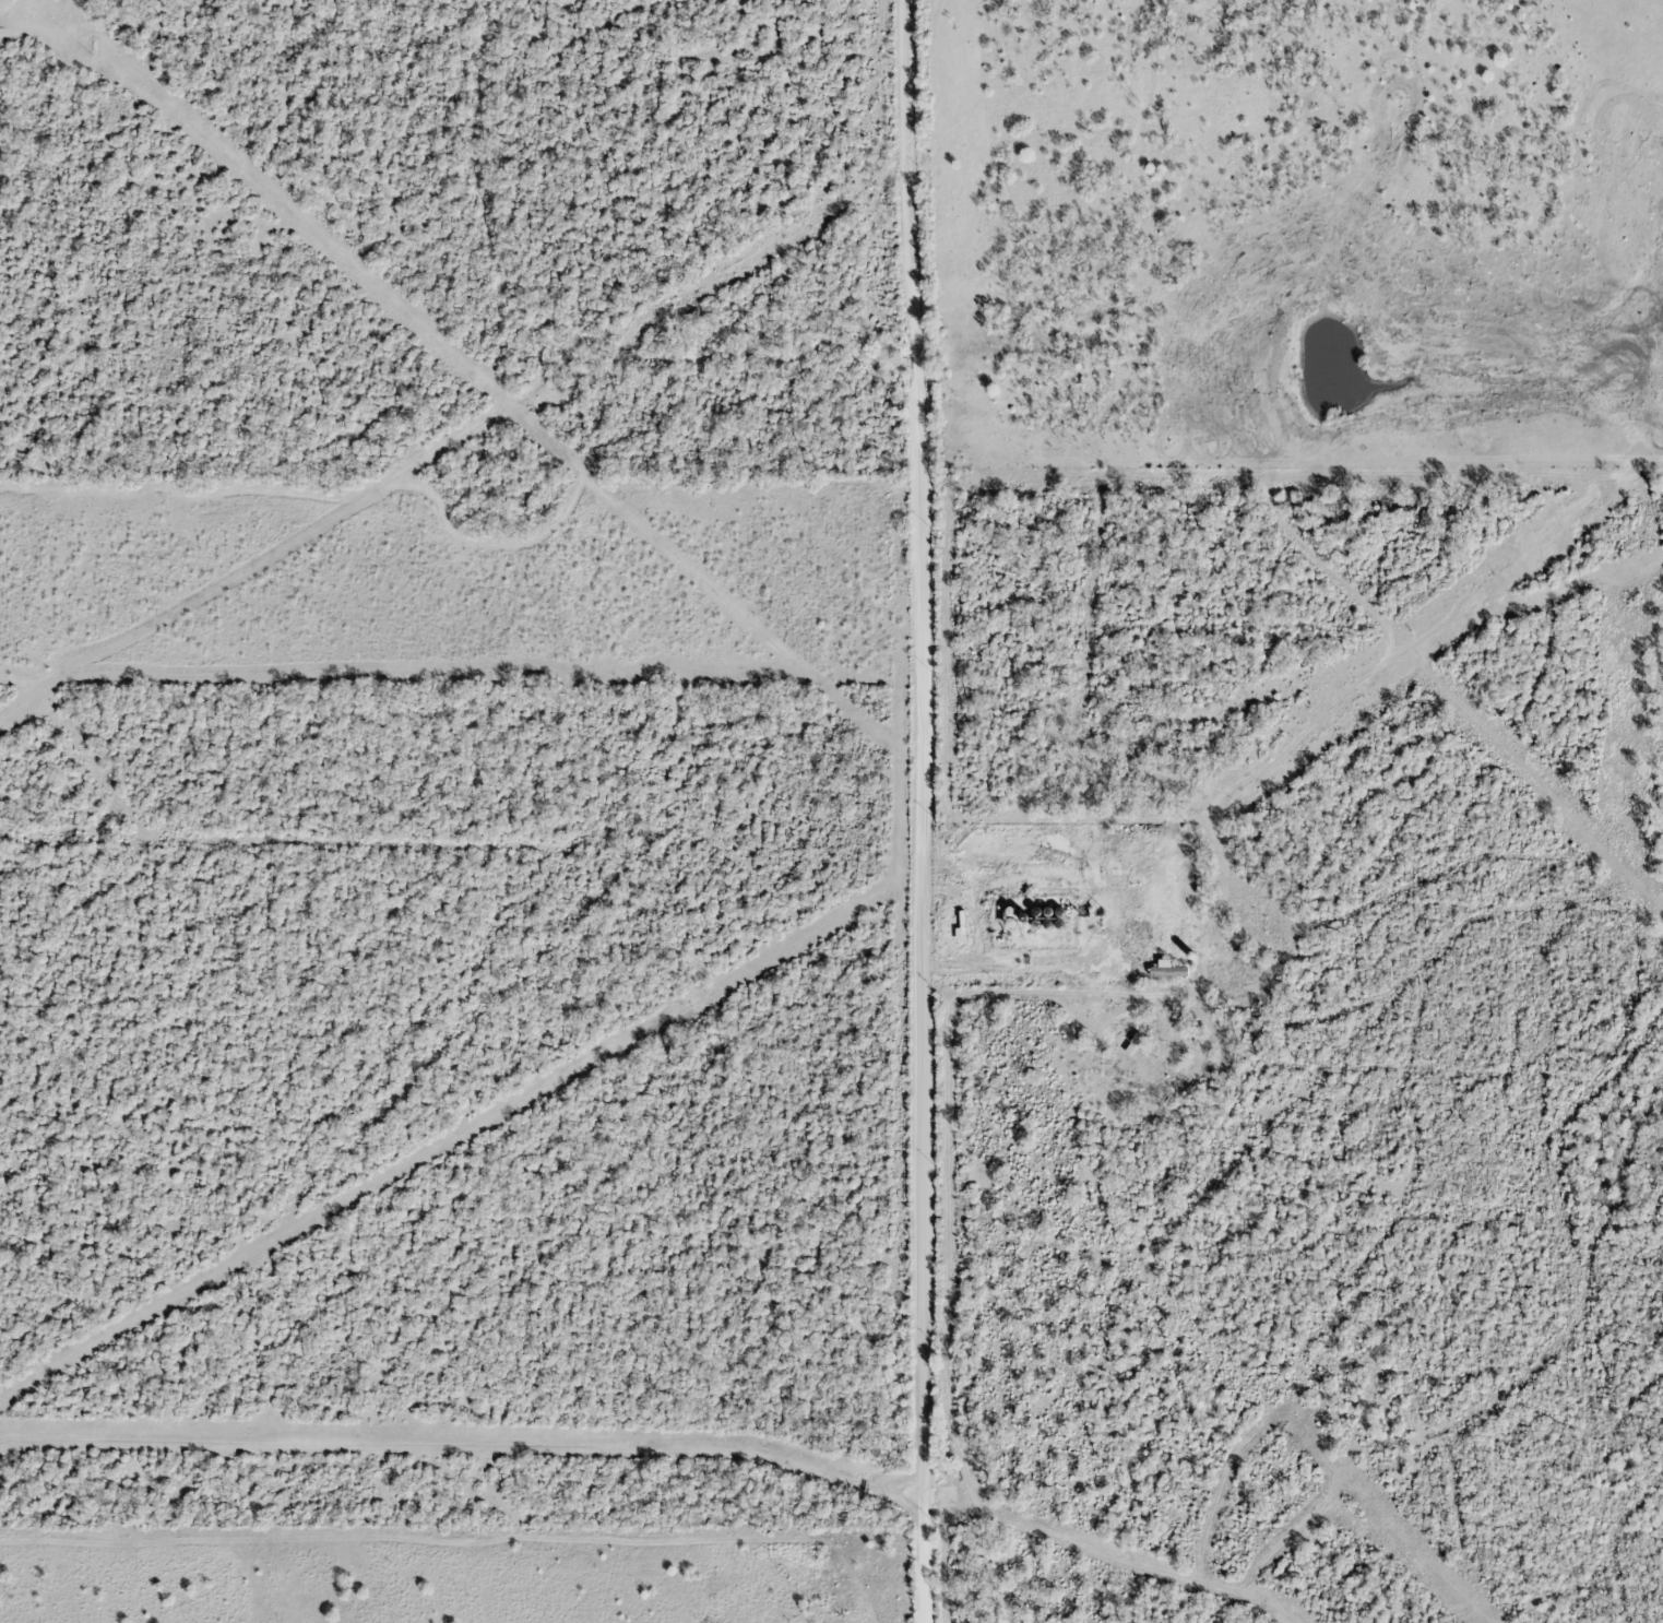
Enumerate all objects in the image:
road: (917, 810)
building: (1166, 969)
building: (1132, 1044)

